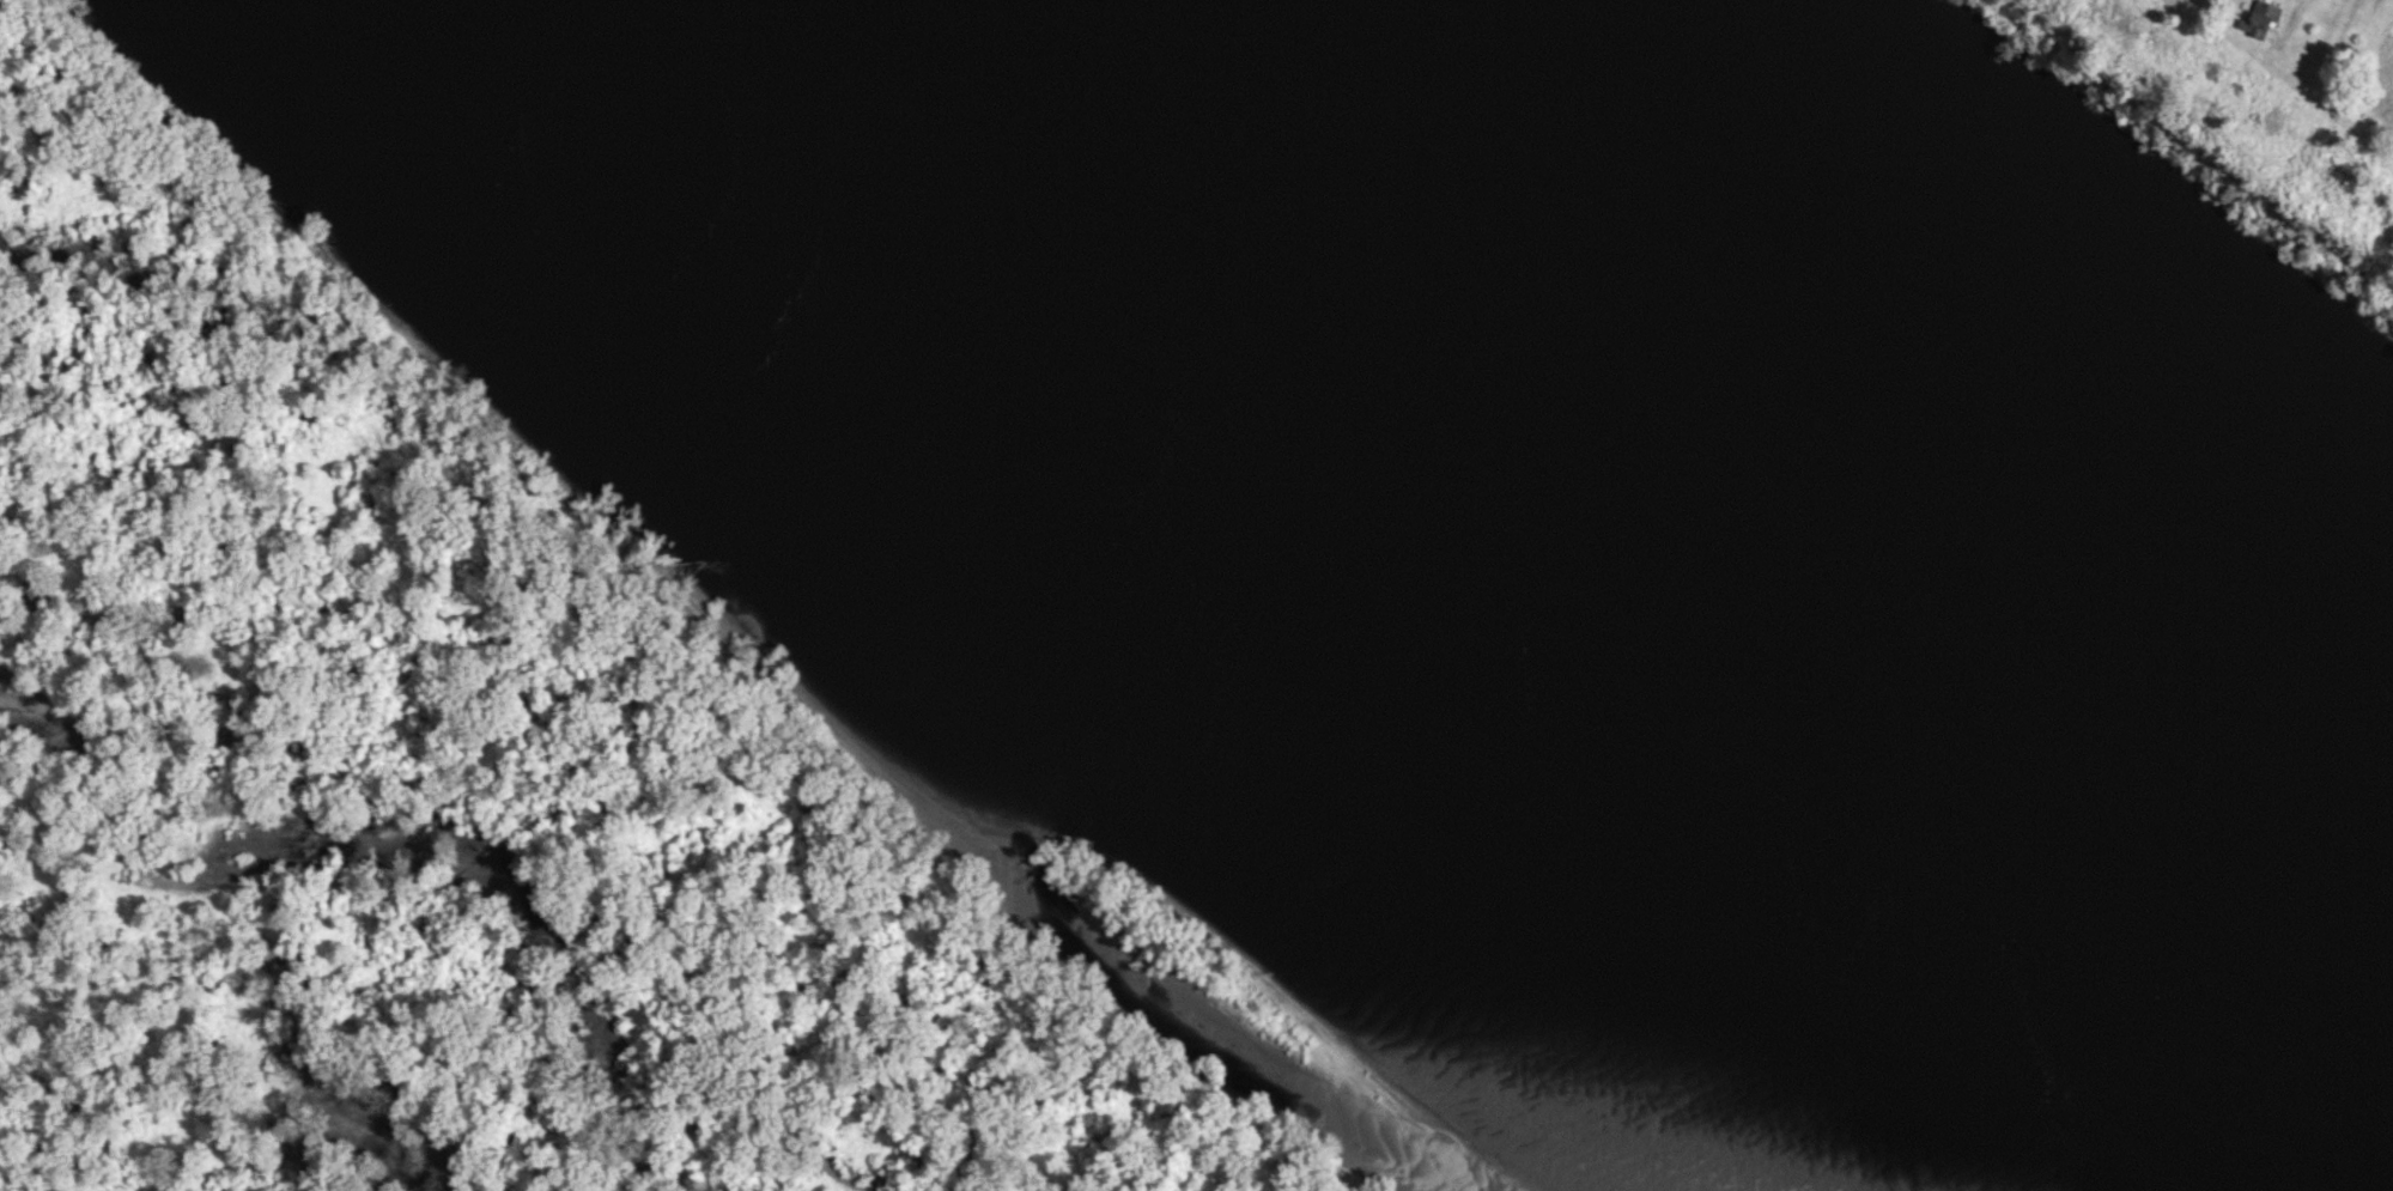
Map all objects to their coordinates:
building: (2260, 18)

